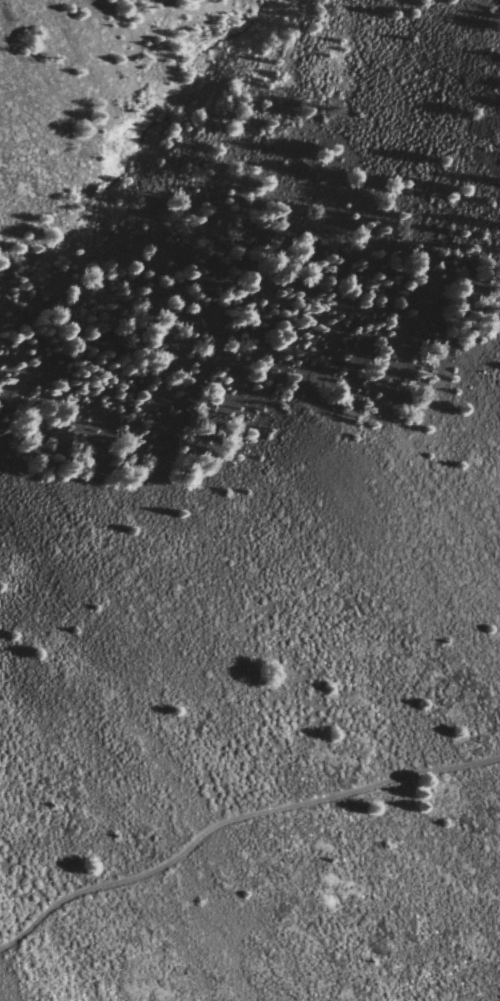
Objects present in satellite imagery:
road: (236, 817)

